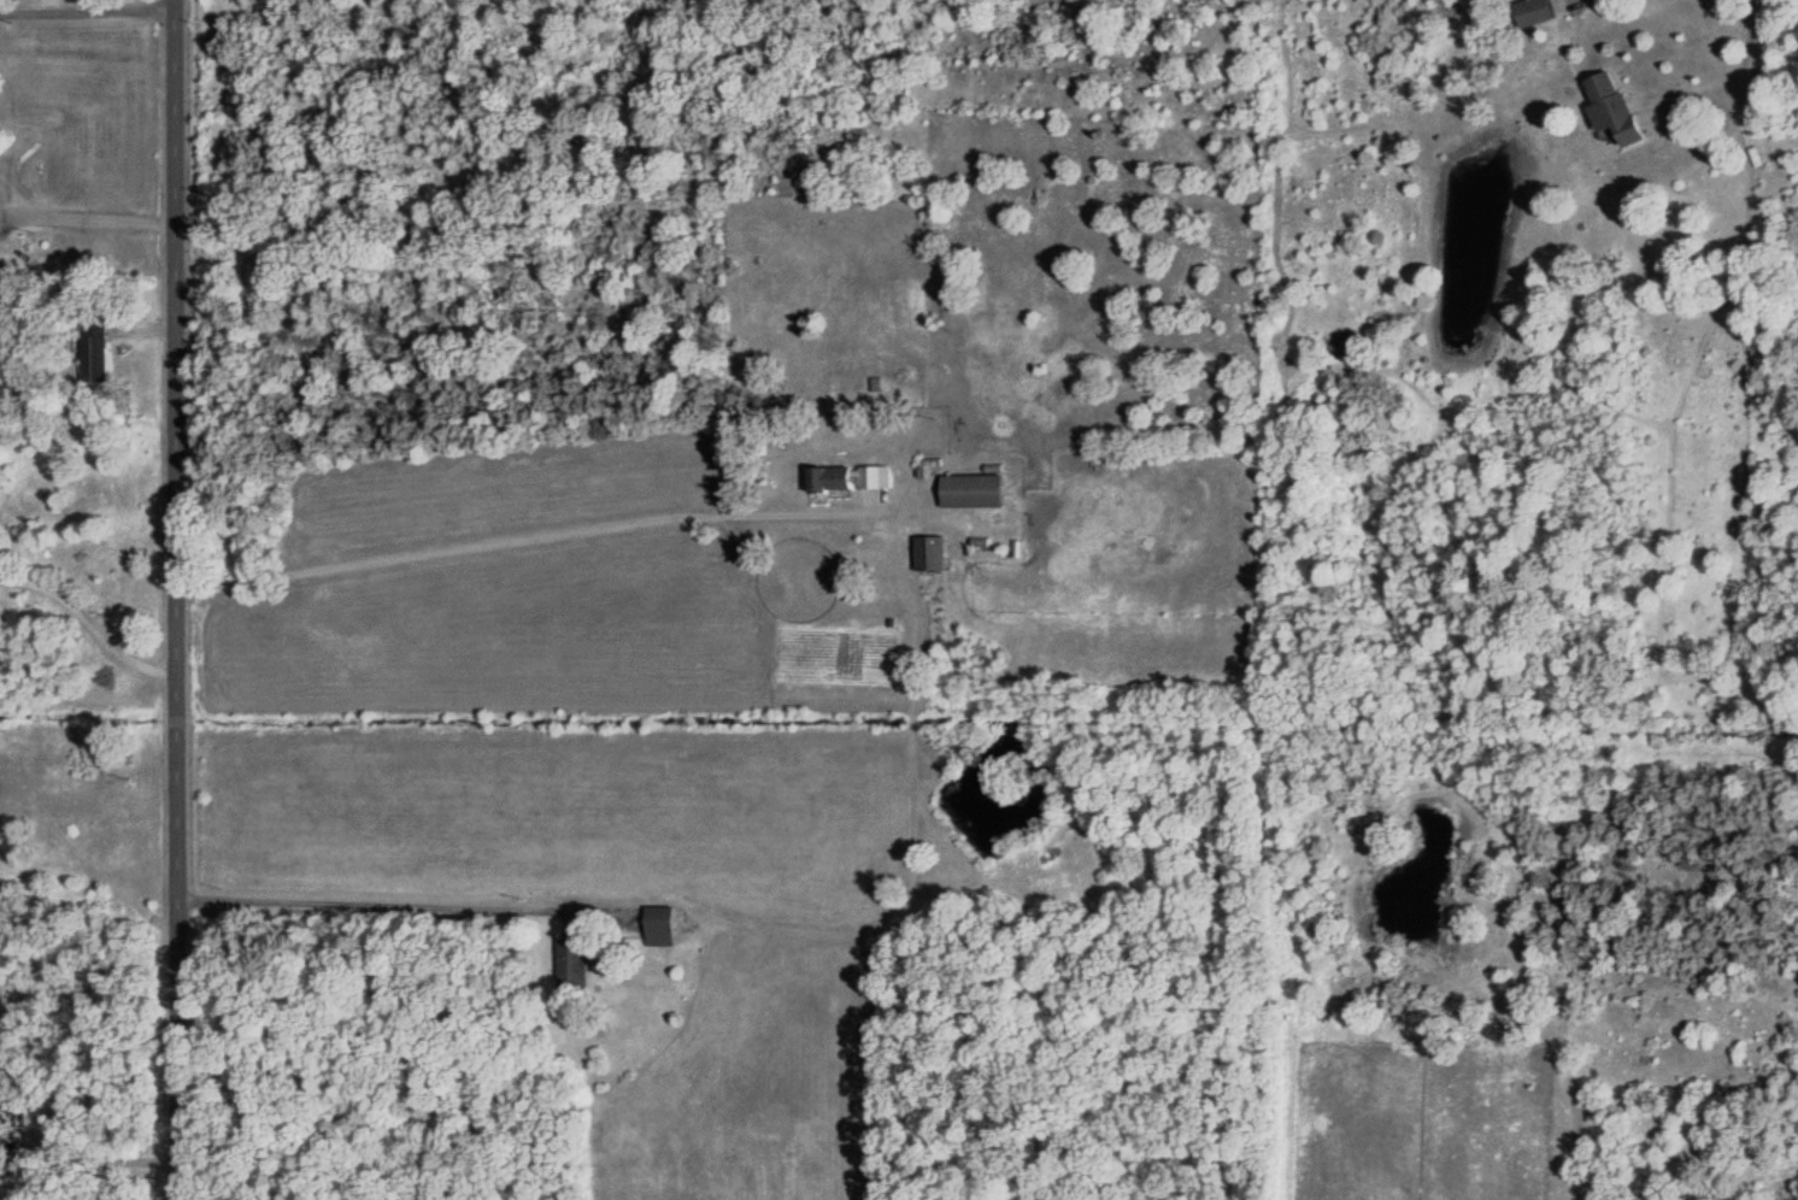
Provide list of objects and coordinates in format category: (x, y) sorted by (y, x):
road: (83, 7)
building: (1532, 12)
road: (1741, 77)
building: (1610, 108)
road: (84, 212)
building: (0, 312)
building: (95, 359)
building: (852, 477)
building: (977, 490)
road: (533, 536)
building: (932, 553)
road: (168, 600)
road: (86, 618)
road: (369, 899)
building: (663, 924)
building: (576, 961)
road: (87, 1151)

